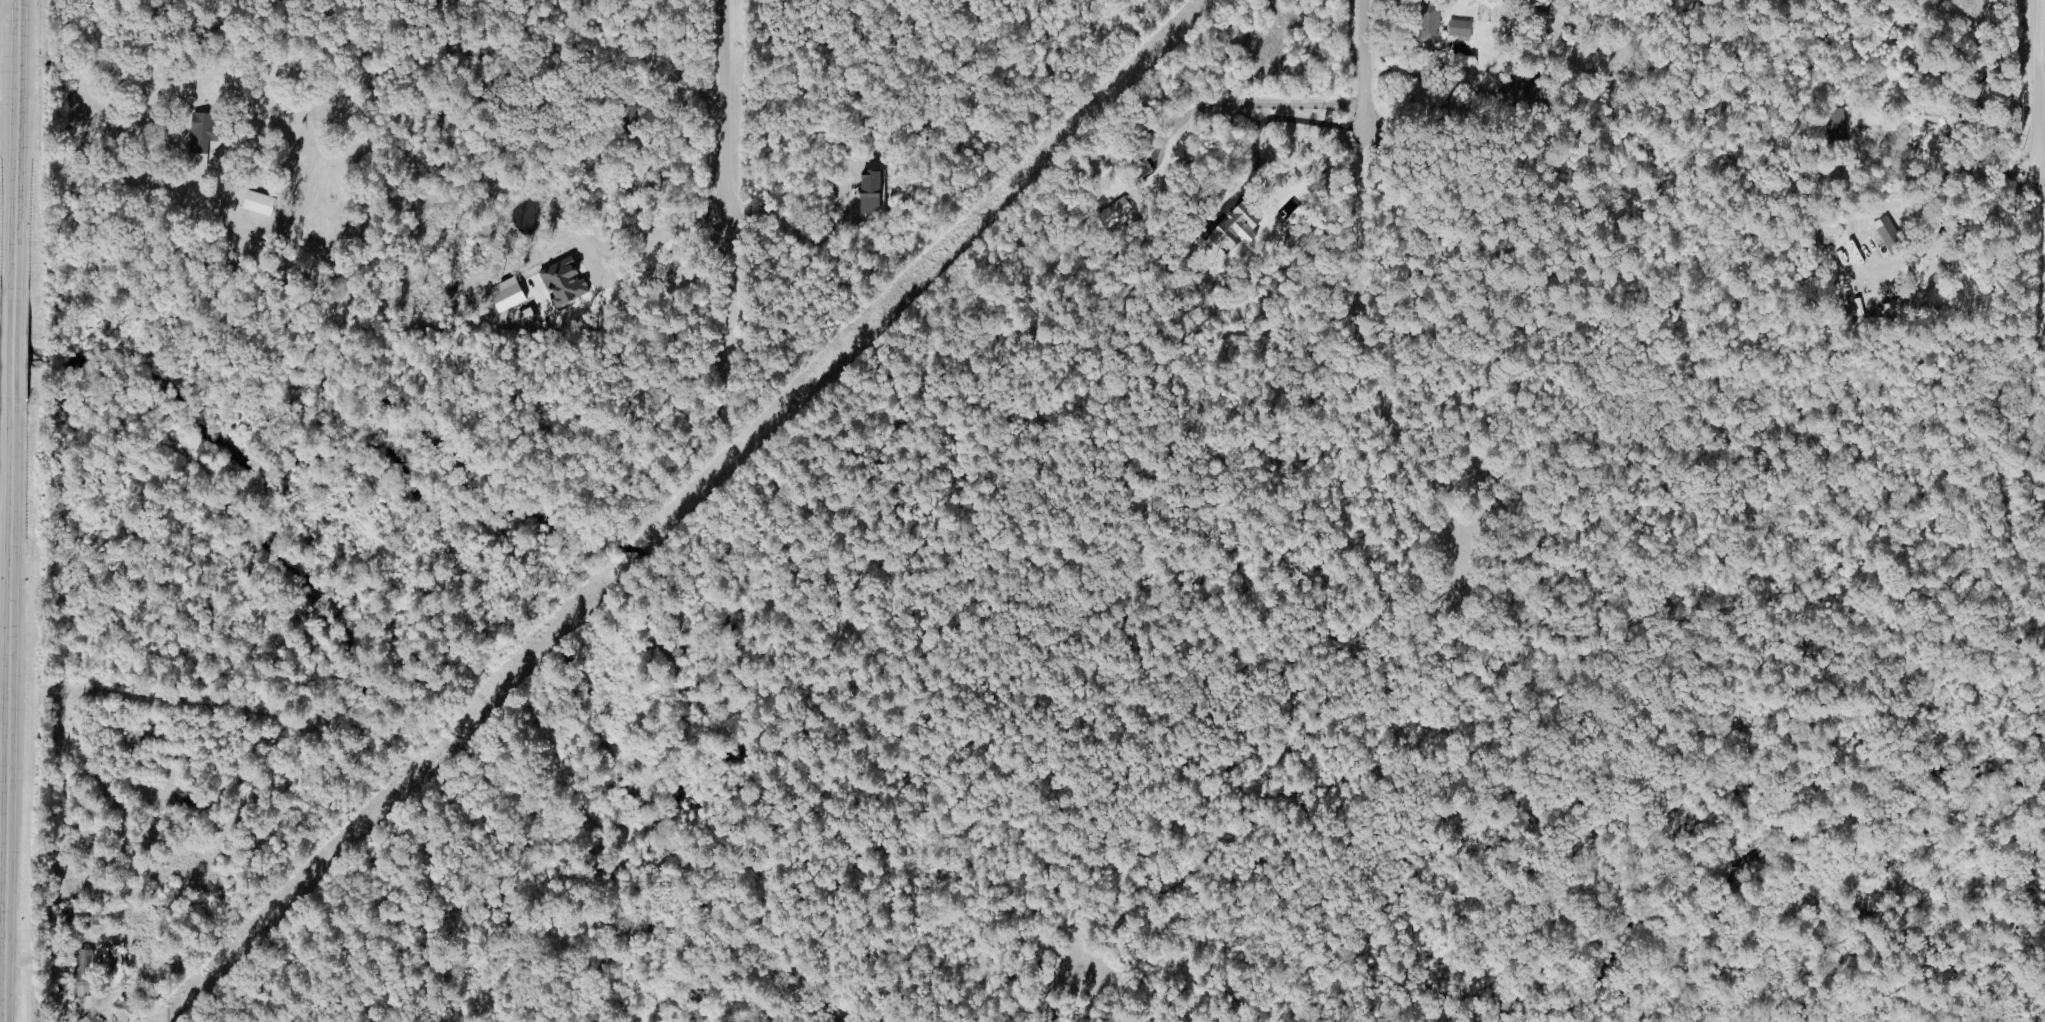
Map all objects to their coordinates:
building: (1548, 9)
building: (1426, 23)
building: (1457, 28)
road: (1368, 54)
road: (2041, 64)
road: (2036, 86)
road: (725, 107)
road: (1248, 109)
road: (98, 118)
building: (1835, 127)
building: (207, 130)
building: (1140, 170)
building: (874, 191)
building: (262, 203)
building: (1116, 210)
road: (1978, 219)
building: (1230, 228)
building: (1883, 229)
road: (2040, 246)
road: (650, 256)
building: (511, 294)
road: (13, 511)
road: (5, 735)
road: (2, 929)
building: (114, 957)
building: (85, 973)
building: (92, 1018)

